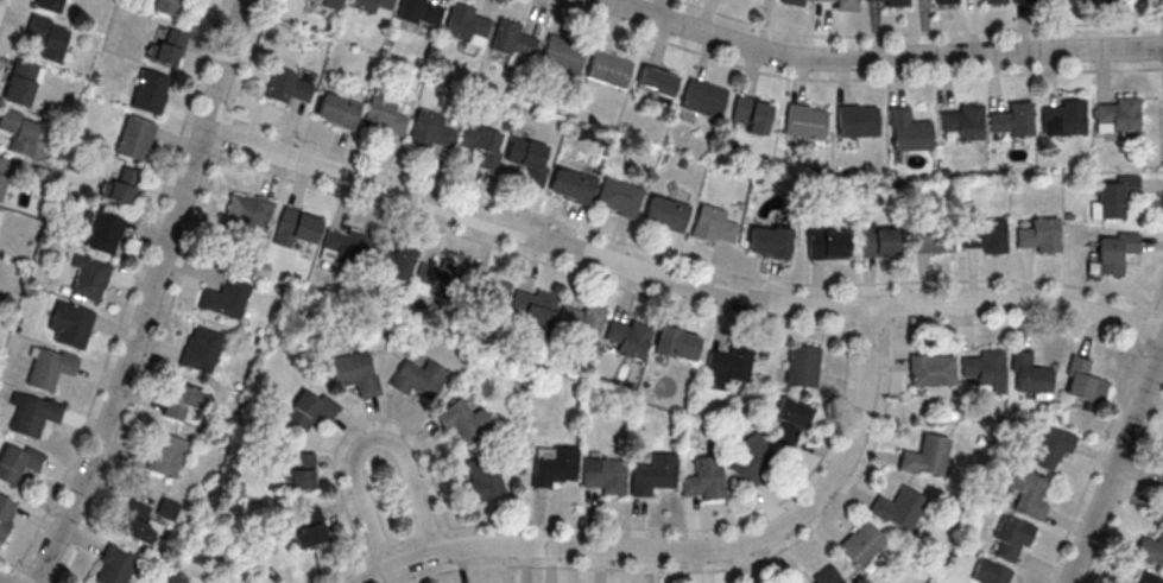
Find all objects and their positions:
building: (985, 0)
building: (1024, 0)
building: (330, 2)
building: (792, 2)
building: (886, 2)
building: (1102, 4)
building: (50, 5)
building: (845, 5)
building: (171, 6)
building: (373, 6)
building: (419, 12)
building: (467, 25)
building: (49, 37)
building: (513, 42)
building: (168, 47)
building: (562, 57)
road: (879, 57)
building: (608, 69)
building: (656, 82)
building: (21, 83)
building: (291, 87)
building: (150, 91)
building: (703, 99)
building: (339, 110)
building: (751, 114)
building: (1118, 116)
building: (384, 119)
building: (1063, 119)
building: (803, 121)
building: (857, 121)
building: (1012, 121)
building: (962, 122)
building: (432, 131)
building: (908, 131)
building: (21, 134)
building: (134, 138)
building: (482, 145)
building: (530, 159)
building: (4, 173)
building: (571, 186)
building: (119, 188)
building: (1117, 197)
building: (618, 198)
building: (247, 211)
building: (665, 214)
building: (713, 226)
building: (297, 228)
building: (100, 232)
building: (986, 235)
building: (1041, 236)
building: (934, 237)
building: (769, 242)
building: (879, 242)
building: (827, 245)
building: (346, 248)
building: (1115, 253)
building: (392, 264)
building: (88, 279)
building: (438, 280)
road: (676, 281)
road: (151, 294)
building: (489, 294)
building: (225, 299)
building: (533, 308)
building: (582, 321)
building: (70, 324)
building: (628, 337)
building: (676, 344)
building: (201, 349)
building: (729, 363)
building: (802, 366)
building: (50, 368)
building: (931, 370)
building: (985, 372)
building: (355, 373)
building: (1031, 375)
building: (421, 379)
building: (1086, 382)
building: (183, 401)
building: (310, 410)
building: (34, 414)
building: (464, 420)
building: (791, 420)
road: (369, 433)
building: (1049, 450)
building: (166, 455)
building: (925, 456)
building: (752, 461)
building: (18, 462)
building: (555, 465)
road: (1117, 467)
building: (303, 471)
building: (653, 474)
building: (603, 475)
building: (481, 477)
building: (703, 479)
building: (1162, 490)
building: (1030, 493)
road: (1136, 495)
park: (1140, 498)
building: (168, 508)
building: (898, 508)
building: (6, 513)
building: (140, 524)
building: (308, 527)
building: (1012, 537)
building: (861, 544)
road: (693, 547)
building: (1150, 550)
building: (115, 566)
building: (991, 572)
building: (827, 576)
building: (1150, 578)
road: (6, 579)
building: (177, 579)

